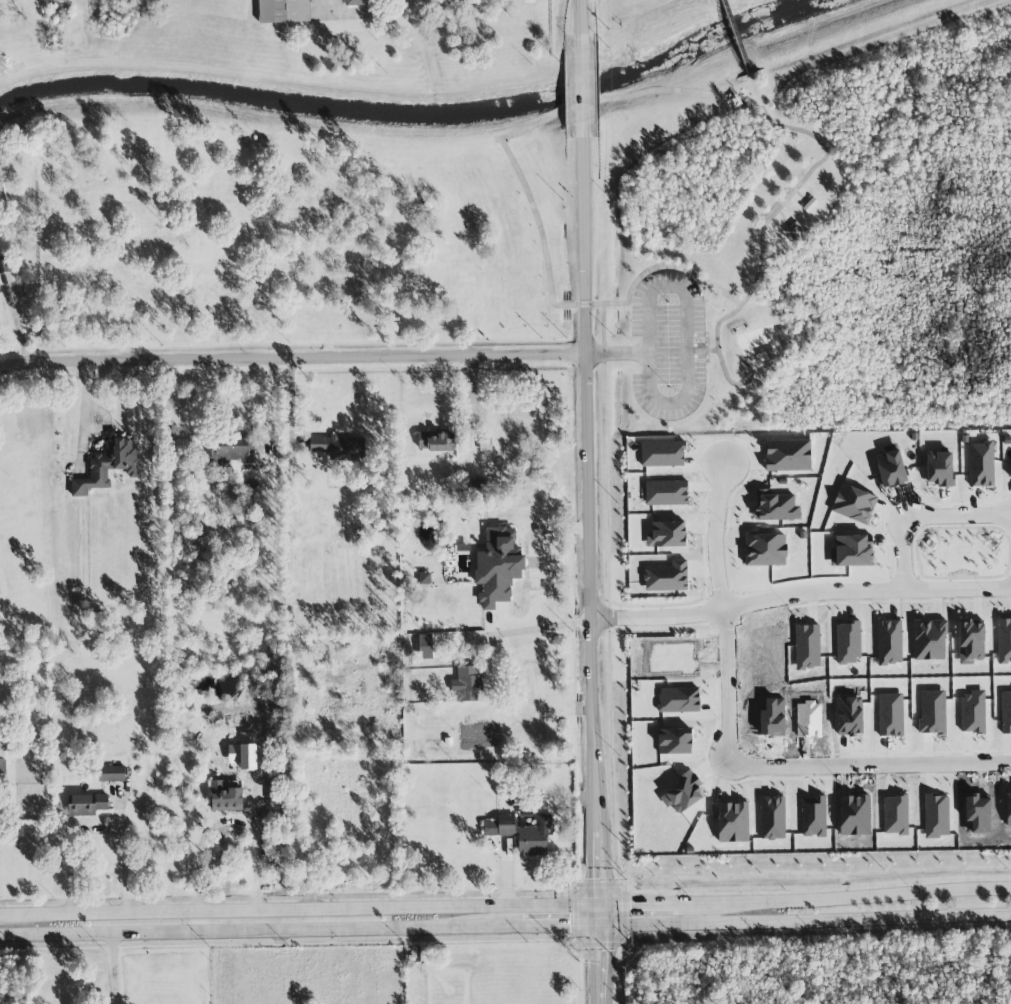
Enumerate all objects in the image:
road: (409, 0)
building: (352, 2)
building: (283, 11)
park: (631, 13)
road: (585, 19)
road: (735, 36)
road: (586, 87)
road: (518, 132)
road: (808, 175)
building: (809, 205)
building: (795, 231)
building: (1, 274)
building: (0, 292)
road: (684, 310)
road: (15, 318)
parking lot: (664, 343)
road: (711, 350)
road: (295, 359)
road: (721, 362)
road: (291, 405)
road: (83, 410)
building: (435, 442)
building: (339, 447)
building: (787, 455)
building: (981, 464)
building: (107, 465)
building: (890, 466)
building: (939, 469)
building: (1009, 474)
building: (853, 503)
building: (776, 506)
road: (924, 518)
road: (593, 519)
building: (765, 549)
road: (534, 550)
building: (851, 551)
building: (498, 568)
building: (0, 593)
road: (802, 594)
road: (723, 609)
road: (541, 627)
building: (1004, 640)
building: (971, 642)
building: (467, 683)
building: (678, 699)
road: (610, 705)
building: (890, 714)
building: (849, 716)
building: (674, 741)
building: (244, 752)
road: (868, 765)
building: (111, 773)
building: (683, 793)
building: (230, 794)
building: (87, 805)
building: (813, 817)
building: (772, 818)
road: (228, 820)
building: (490, 828)
building: (527, 833)
road: (123, 862)
road: (844, 896)
road: (313, 897)
road: (639, 903)
road: (299, 908)
road: (505, 927)
road: (824, 932)
road: (319, 941)
road: (600, 954)
road: (619, 965)
road: (111, 969)

